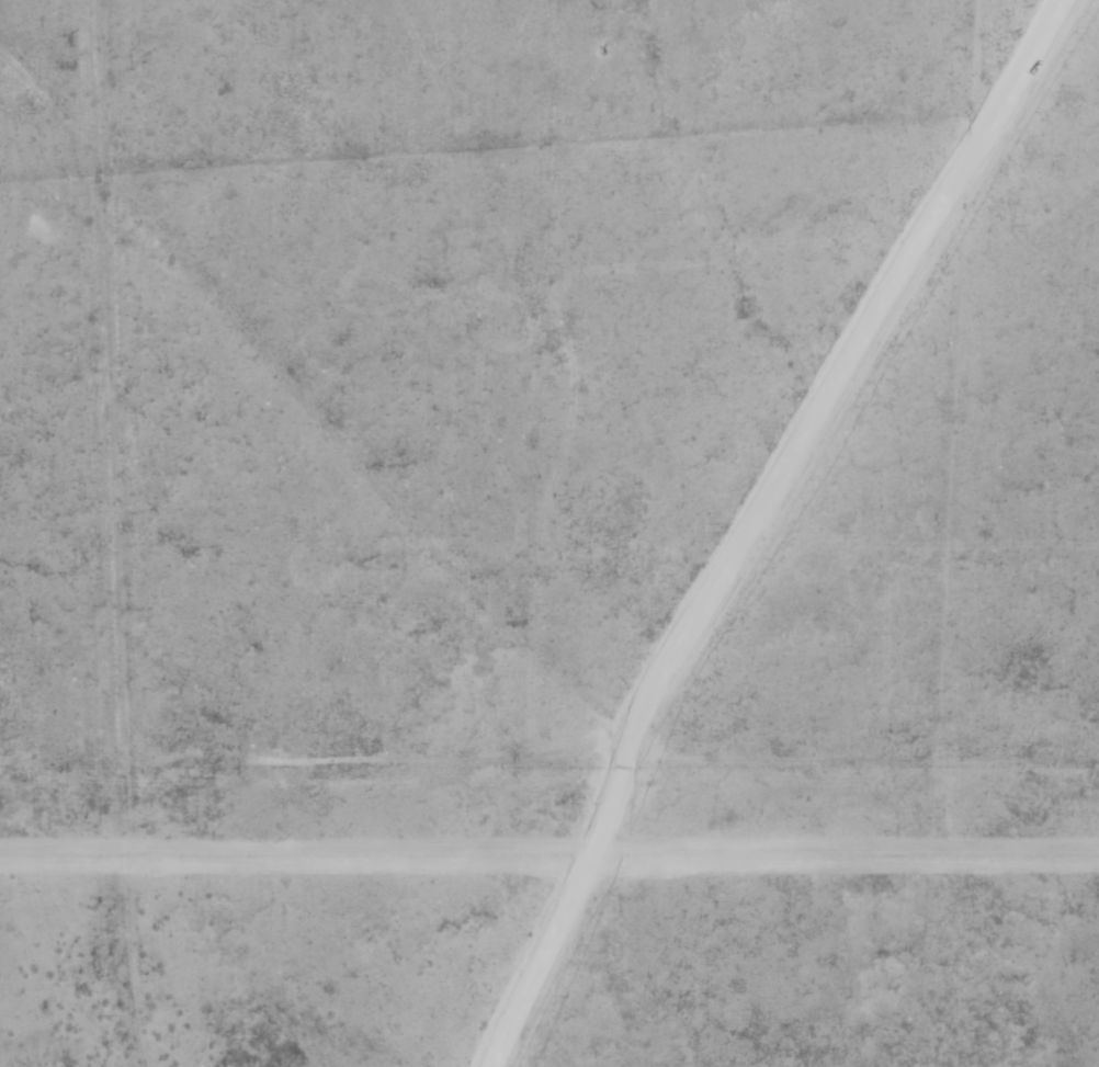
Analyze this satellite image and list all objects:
road: (758, 522)
road: (87, 618)

